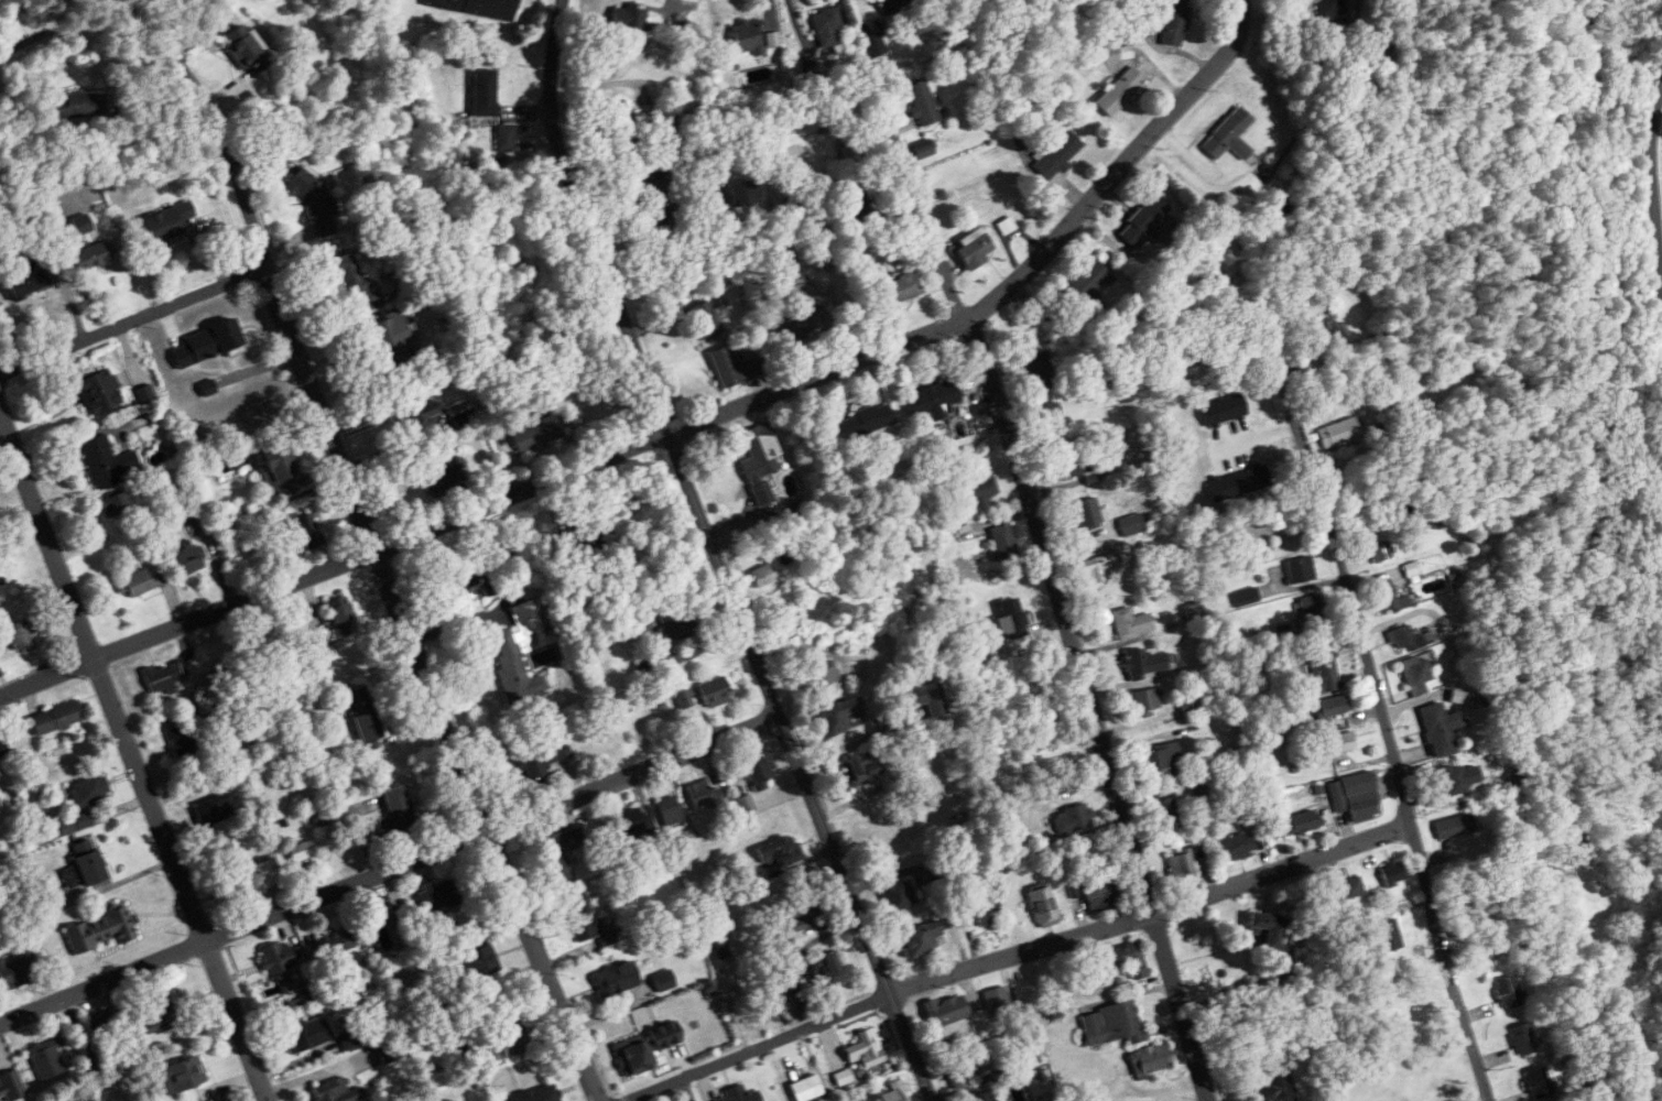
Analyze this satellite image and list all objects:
building: (892, 4)
building: (477, 7)
building: (1329, 8)
building: (628, 18)
building: (1174, 23)
road: (111, 24)
building: (828, 28)
building: (748, 36)
building: (875, 45)
building: (247, 51)
building: (1117, 53)
road: (156, 90)
building: (1120, 91)
building: (485, 92)
building: (922, 103)
building: (78, 106)
building: (627, 121)
building: (1229, 135)
building: (924, 152)
building: (1058, 155)
building: (644, 165)
road: (1119, 165)
building: (742, 193)
road: (913, 196)
road: (713, 197)
park: (1648, 200)
road: (1651, 200)
building: (858, 207)
road: (586, 219)
building: (1143, 222)
building: (162, 229)
building: (975, 249)
building: (91, 257)
road: (131, 277)
building: (351, 277)
building: (387, 281)
building: (29, 282)
building: (1086, 284)
building: (903, 287)
road: (967, 316)
road: (132, 319)
road: (1055, 319)
building: (707, 320)
building: (1332, 325)
building: (394, 344)
building: (207, 345)
building: (734, 367)
building: (1041, 370)
road: (817, 374)
building: (1170, 383)
building: (101, 392)
building: (935, 400)
building: (417, 410)
building: (1052, 417)
building: (869, 419)
building: (1339, 433)
building: (535, 434)
road: (1258, 436)
building: (106, 461)
building: (760, 461)
building: (1072, 464)
building: (279, 468)
building: (443, 470)
building: (980, 491)
building: (116, 503)
building: (1087, 512)
building: (302, 532)
building: (1003, 542)
building: (183, 552)
road: (335, 562)
building: (1096, 569)
building: (1301, 569)
building: (459, 577)
building: (760, 577)
building: (144, 580)
road: (409, 597)
building: (1387, 598)
building: (1311, 608)
building: (341, 615)
building: (781, 617)
building: (1014, 618)
building: (676, 623)
building: (1131, 623)
building: (20, 635)
building: (1405, 639)
building: (521, 653)
building: (1144, 663)
building: (1323, 671)
building: (1415, 675)
building: (165, 676)
building: (825, 676)
building: (714, 693)
building: (926, 698)
building: (683, 699)
building: (1148, 700)
road: (1094, 706)
building: (1333, 706)
building: (839, 717)
building: (56, 718)
building: (363, 718)
building: (1438, 729)
building: (187, 740)
road: (1391, 742)
building: (1340, 743)
building: (2, 748)
road: (132, 751)
building: (1162, 761)
building: (543, 762)
road: (803, 764)
building: (862, 767)
building: (760, 772)
building: (1460, 777)
building: (1201, 786)
building: (90, 791)
building: (700, 794)
building: (1356, 797)
building: (746, 804)
building: (213, 810)
building: (401, 810)
building: (670, 811)
building: (1169, 815)
building: (1073, 819)
building: (631, 824)
building: (1300, 824)
building: (1454, 826)
building: (1237, 846)
building: (1576, 848)
building: (780, 851)
building: (558, 855)
building: (1183, 862)
building: (84, 865)
road: (391, 865)
building: (1394, 872)
building: (256, 877)
building: (1348, 890)
building: (1098, 892)
building: (899, 895)
building: (437, 897)
building: (1043, 906)
building: (807, 915)
building: (985, 915)
building: (582, 918)
building: (101, 929)
building: (1268, 929)
building: (1389, 935)
building: (920, 939)
road: (1534, 941)
building: (340, 942)
road: (1015, 952)
building: (276, 958)
building: (1128, 960)
building: (476, 964)
building: (829, 969)
building: (11, 974)
building: (616, 980)
building: (664, 981)
building: (1508, 992)
building: (793, 1002)
building: (945, 1012)
building: (157, 1014)
building: (105, 1024)
building: (1112, 1024)
building: (309, 1035)
building: (509, 1038)
building: (1522, 1039)
building: (643, 1048)
building: (389, 1051)
building: (865, 1051)
building: (47, 1059)
building: (1151, 1059)
building: (182, 1076)
building: (1538, 1082)
building: (11, 1084)
building: (1275, 1084)
building: (806, 1088)
building: (337, 1091)
building: (893, 1093)
building: (540, 1094)
building: (736, 1095)
building: (981, 1098)

